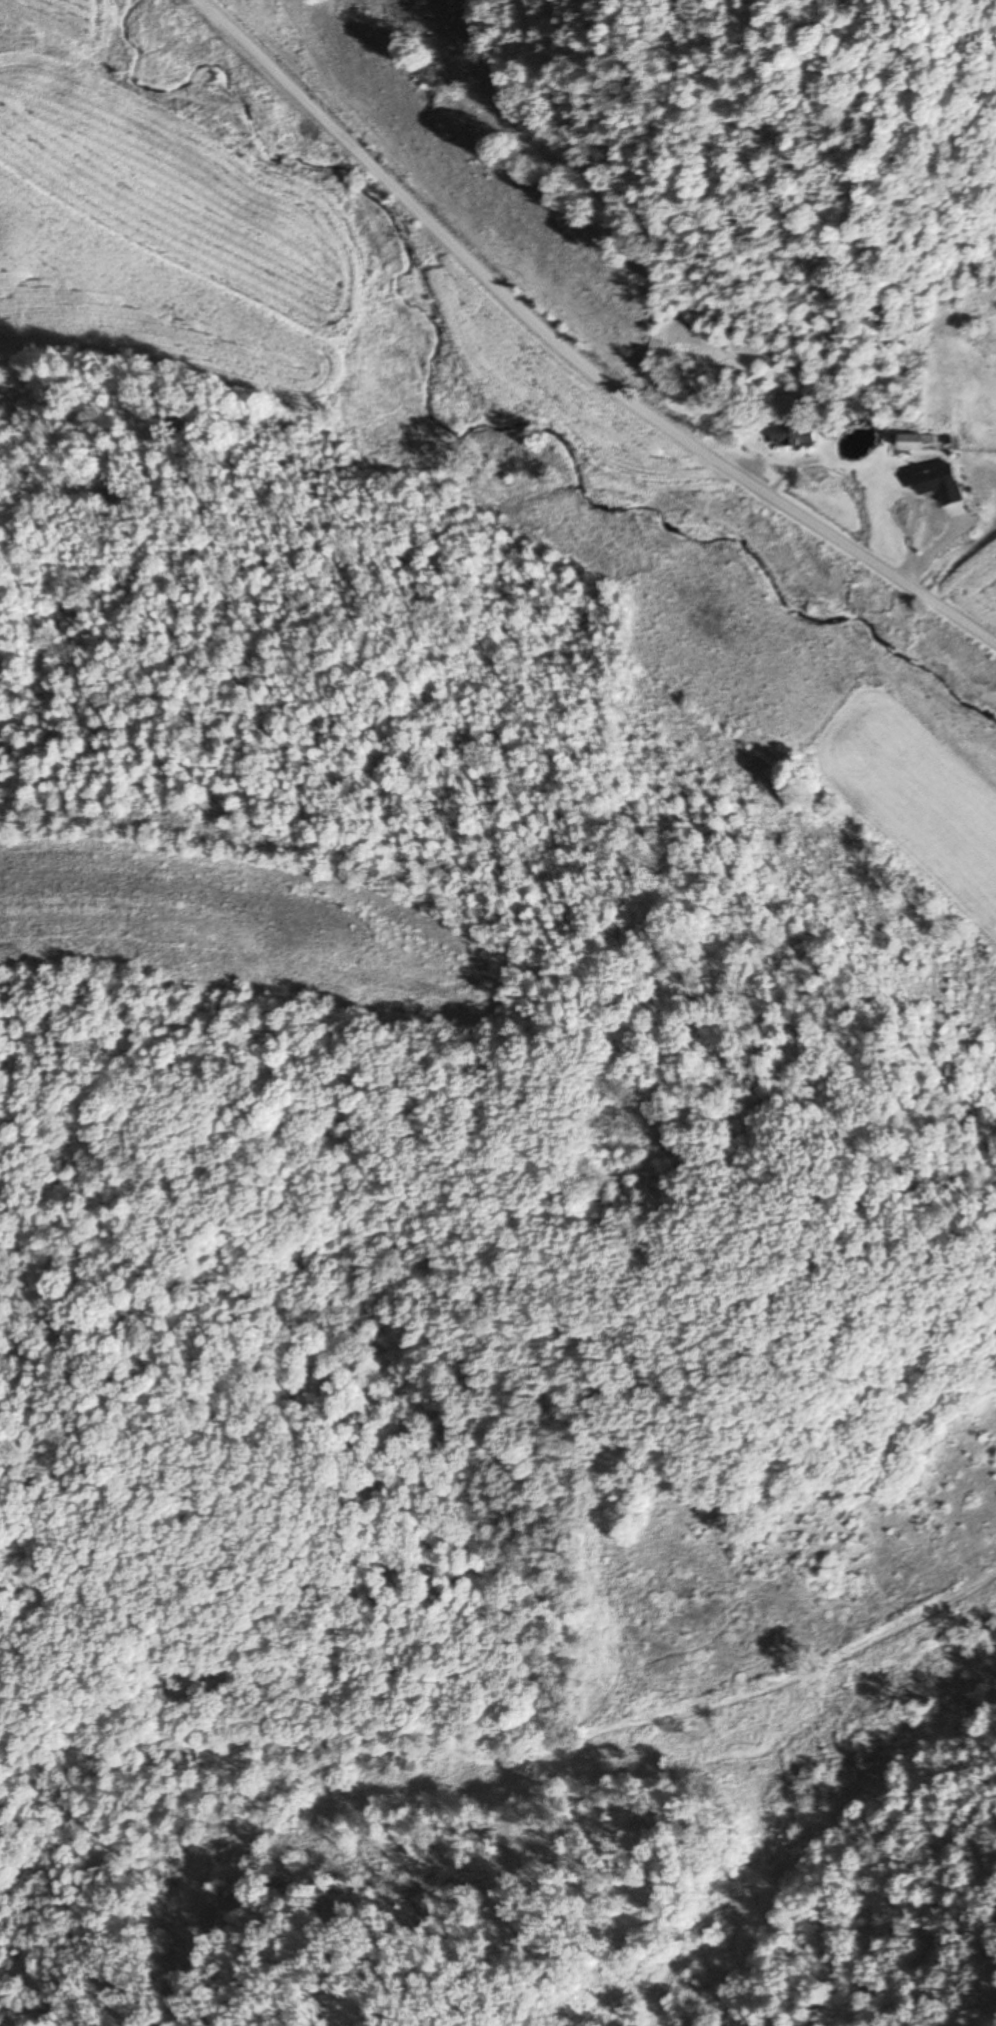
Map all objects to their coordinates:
road: (571, 353)
building: (795, 437)
building: (913, 442)

